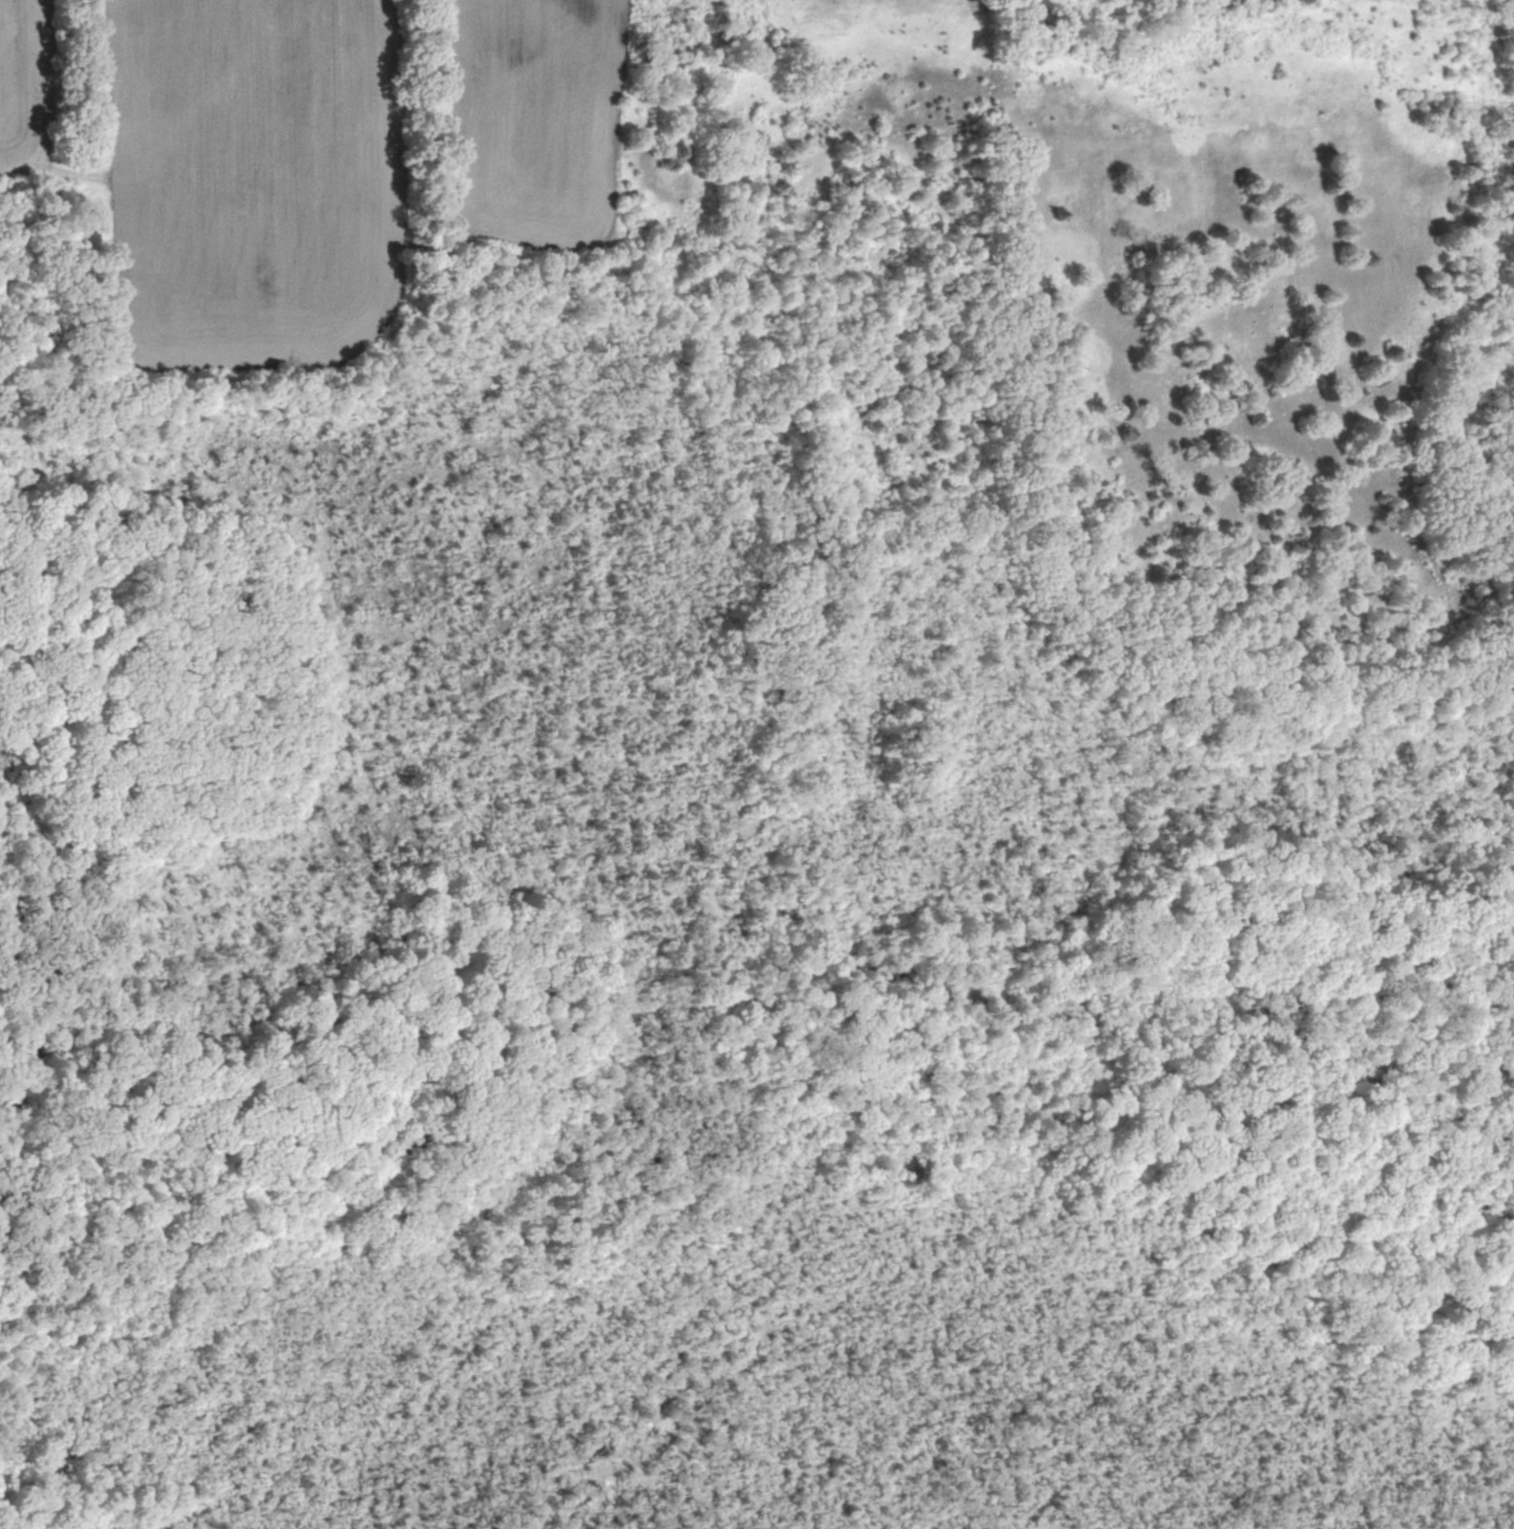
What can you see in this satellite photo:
crop: (24, 87)
road: (634, 101)
crop: (539, 118)
road: (1187, 132)
crop: (255, 179)
road: (630, 190)
road: (1095, 236)
road: (591, 247)
road: (662, 247)
road: (369, 360)
road: (269, 376)
road: (208, 382)
road: (750, 400)
road: (990, 479)
road: (741, 482)
road: (817, 483)
road: (897, 543)
road: (834, 560)
road: (791, 670)
park: (757, 764)
road: (20, 1065)
road: (153, 1175)
road: (1100, 1186)
road: (680, 1187)
road: (281, 1251)
road: (174, 1509)

